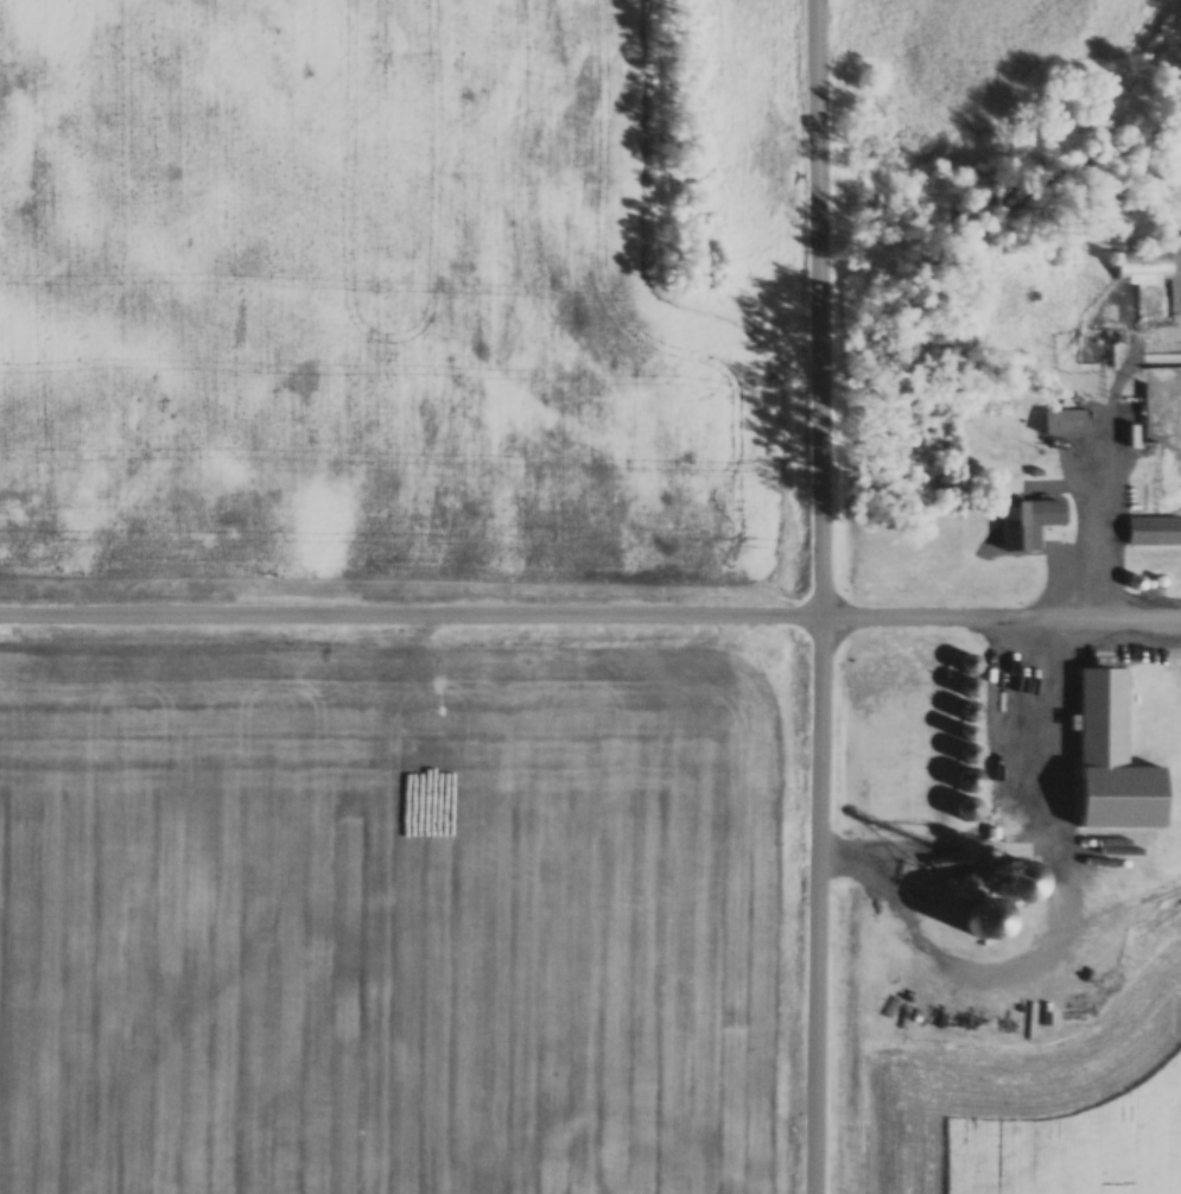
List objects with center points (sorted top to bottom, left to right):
building: (1147, 267)
building: (1066, 423)
building: (1031, 522)
building: (1154, 532)
road: (821, 596)
road: (411, 611)
road: (1001, 616)
building: (1104, 712)
building: (1112, 790)

